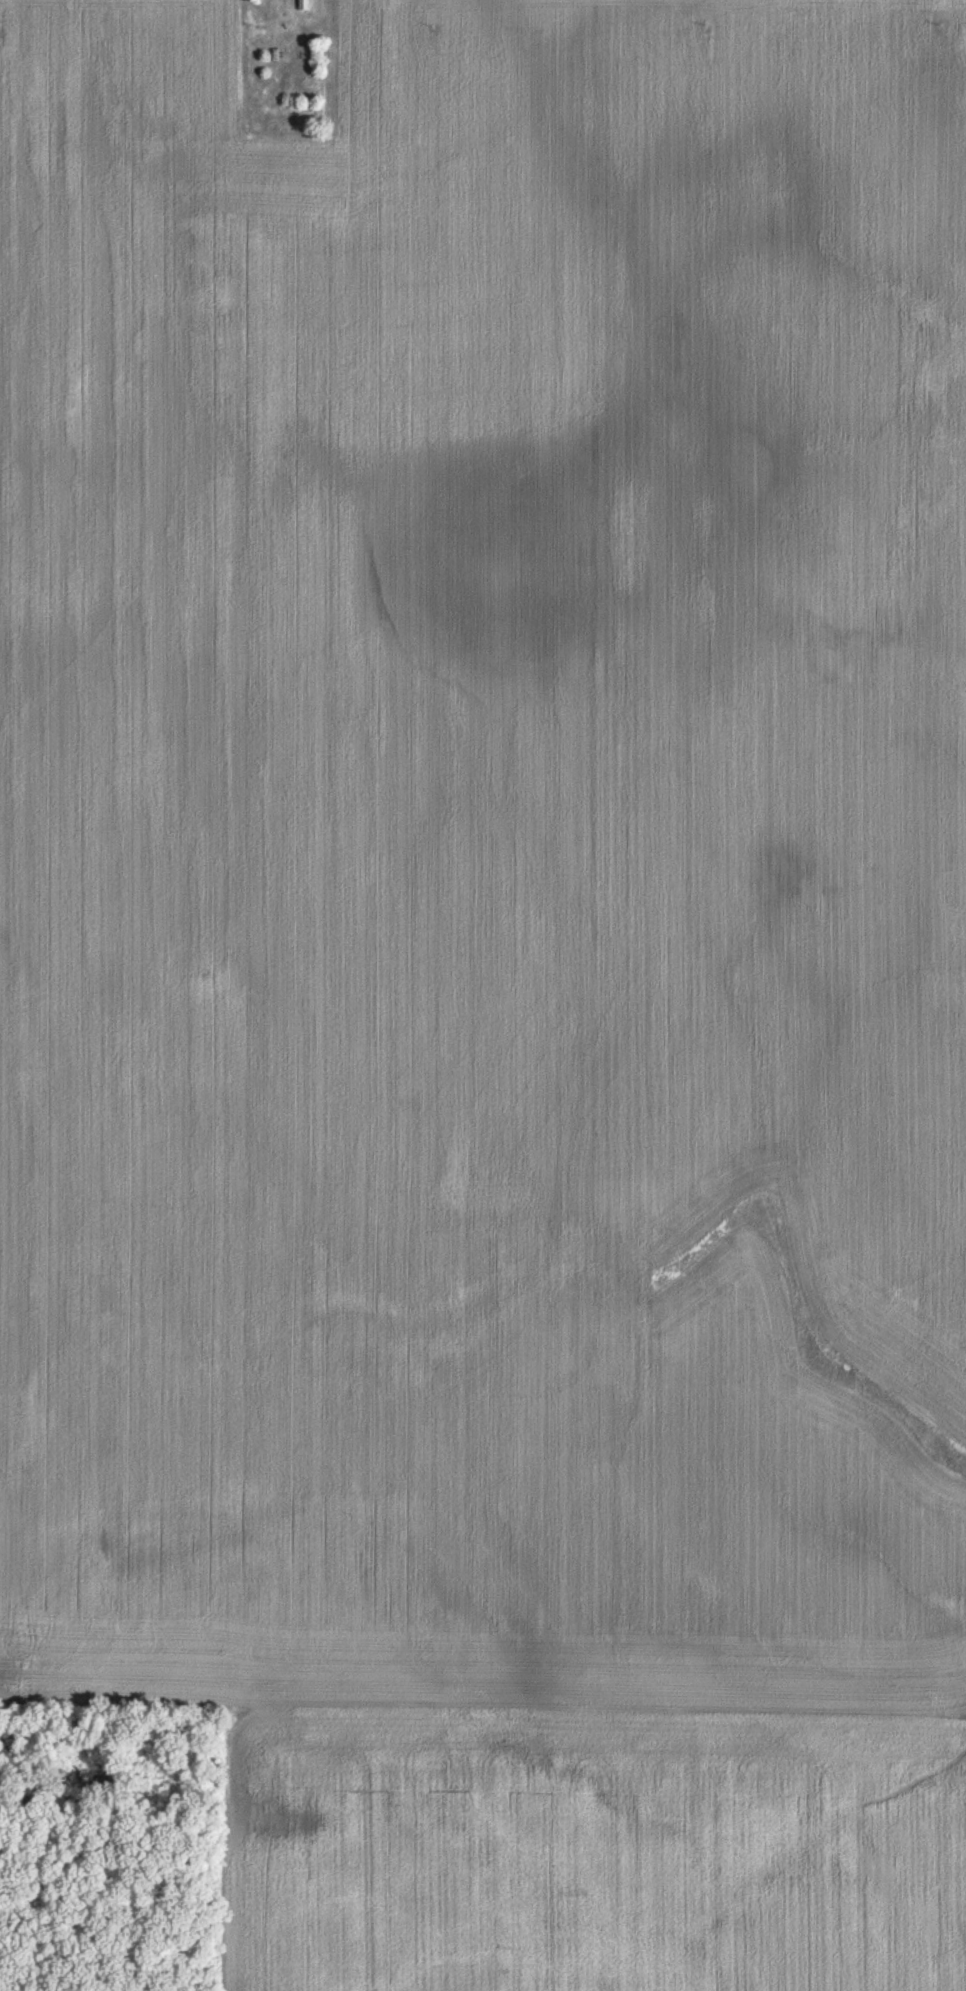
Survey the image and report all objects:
crop: (485, 851)
crop: (586, 1840)

